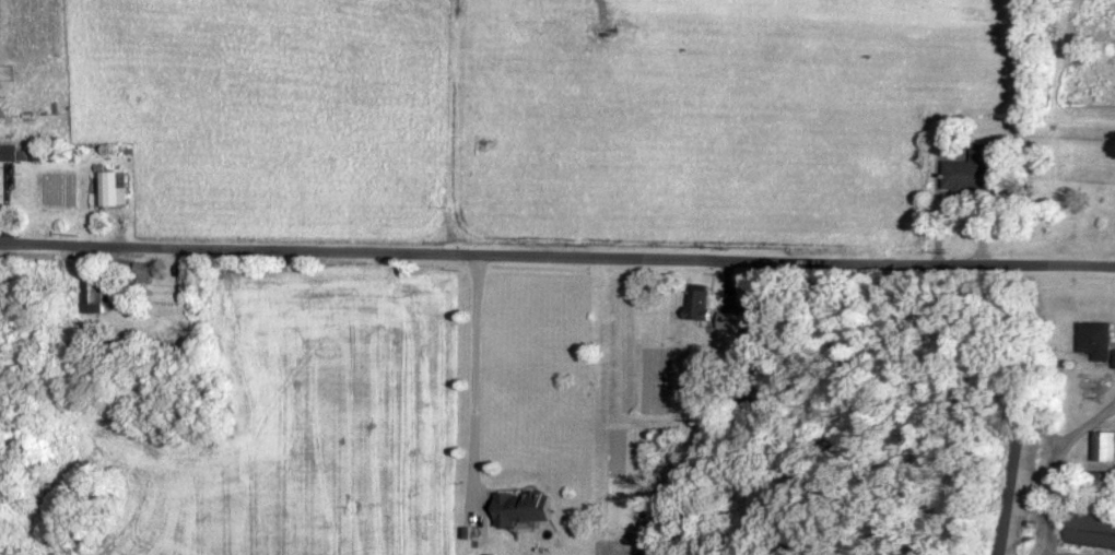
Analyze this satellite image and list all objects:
building: (14, 152)
building: (975, 172)
building: (111, 188)
road: (557, 256)
building: (96, 290)
building: (700, 302)
building: (731, 326)
building: (1099, 339)
road: (476, 375)
building: (1106, 446)
road: (1063, 465)
building: (1105, 482)
building: (1018, 496)
building: (530, 507)
building: (1092, 530)

